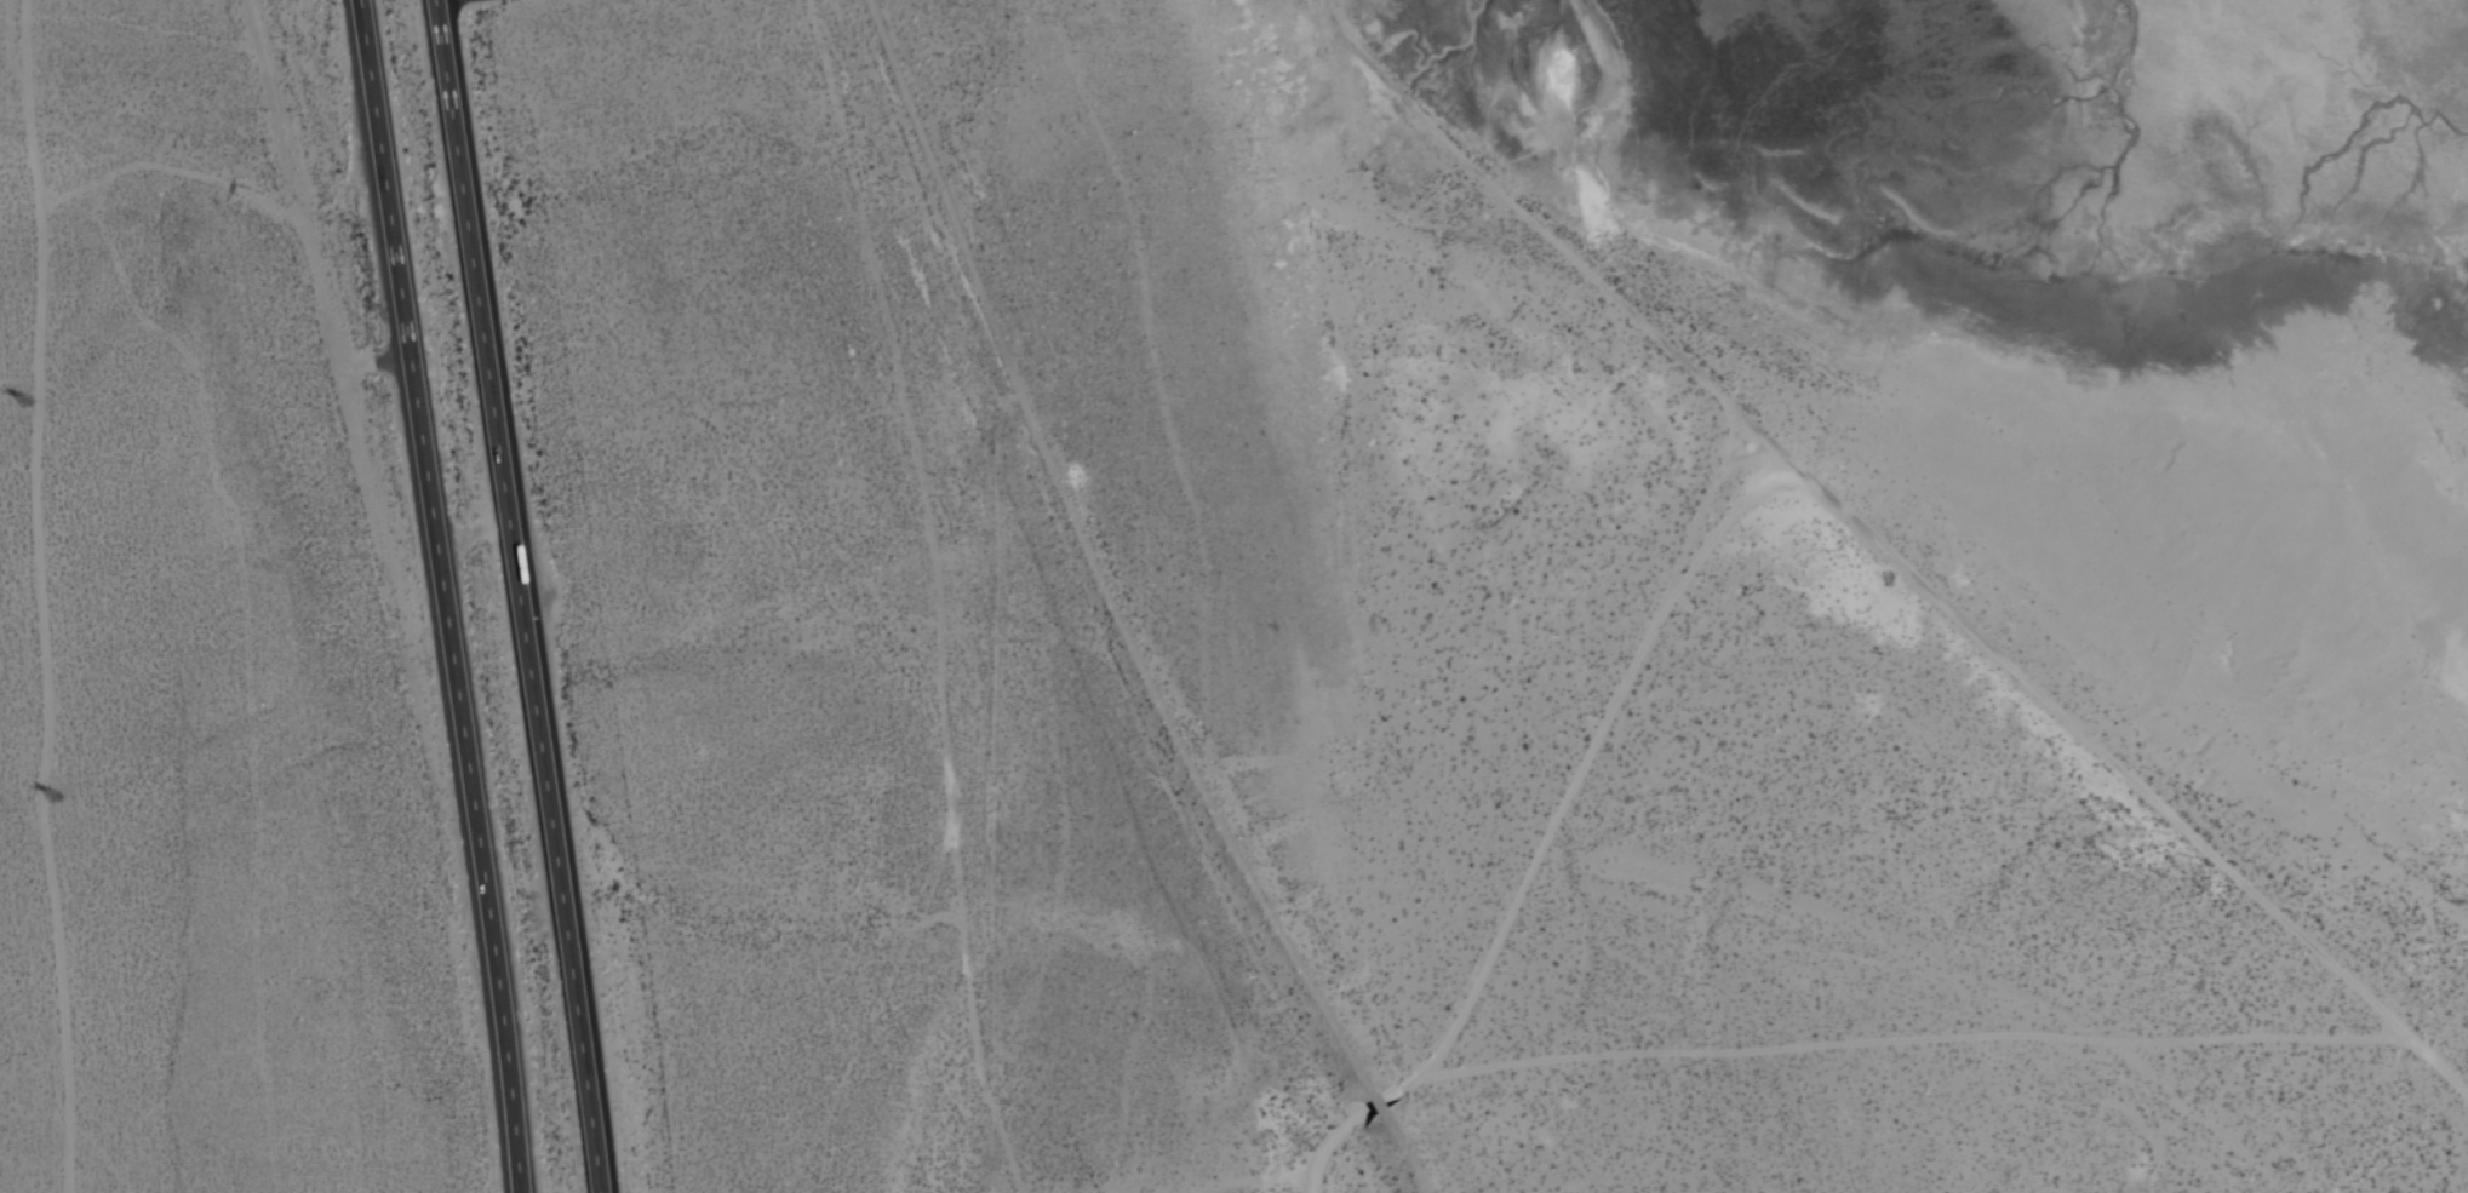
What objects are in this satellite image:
road: (305, 208)
power tower: (25, 405)
road: (1902, 575)
road: (41, 596)
road: (443, 596)
road: (519, 596)
road: (1585, 751)
power tower: (58, 801)
road: (1825, 1043)

